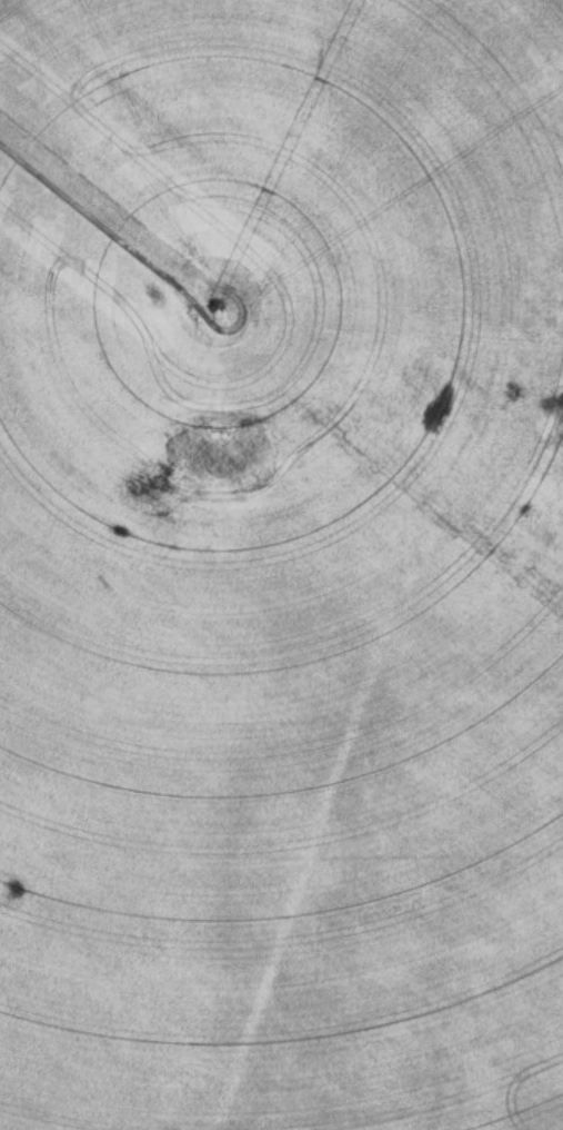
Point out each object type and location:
wastewater plant: (281, 565)

